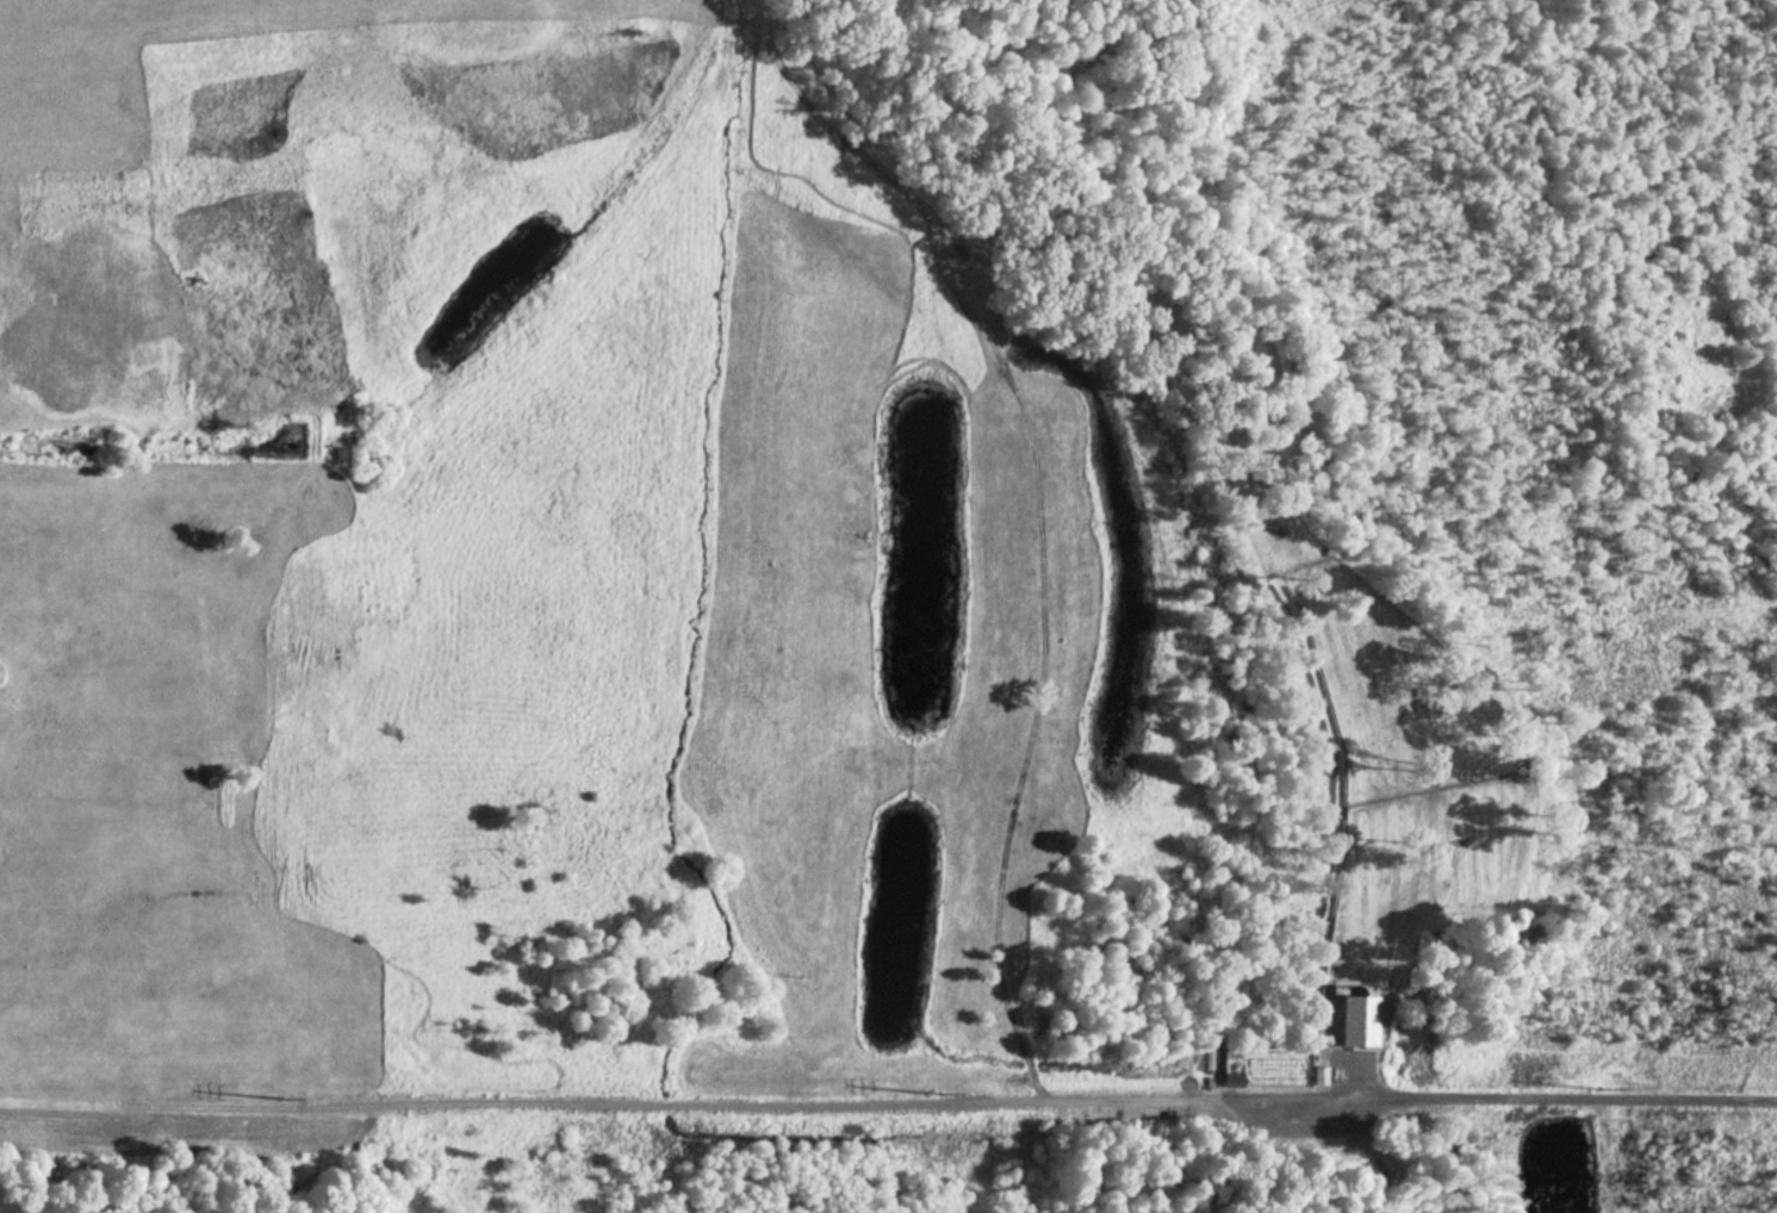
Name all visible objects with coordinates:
building: (1357, 1020)
building: (1322, 1075)
power tower: (1597, 1086)
power tower: (936, 1093)
power tower: (282, 1095)
road: (1570, 1103)

